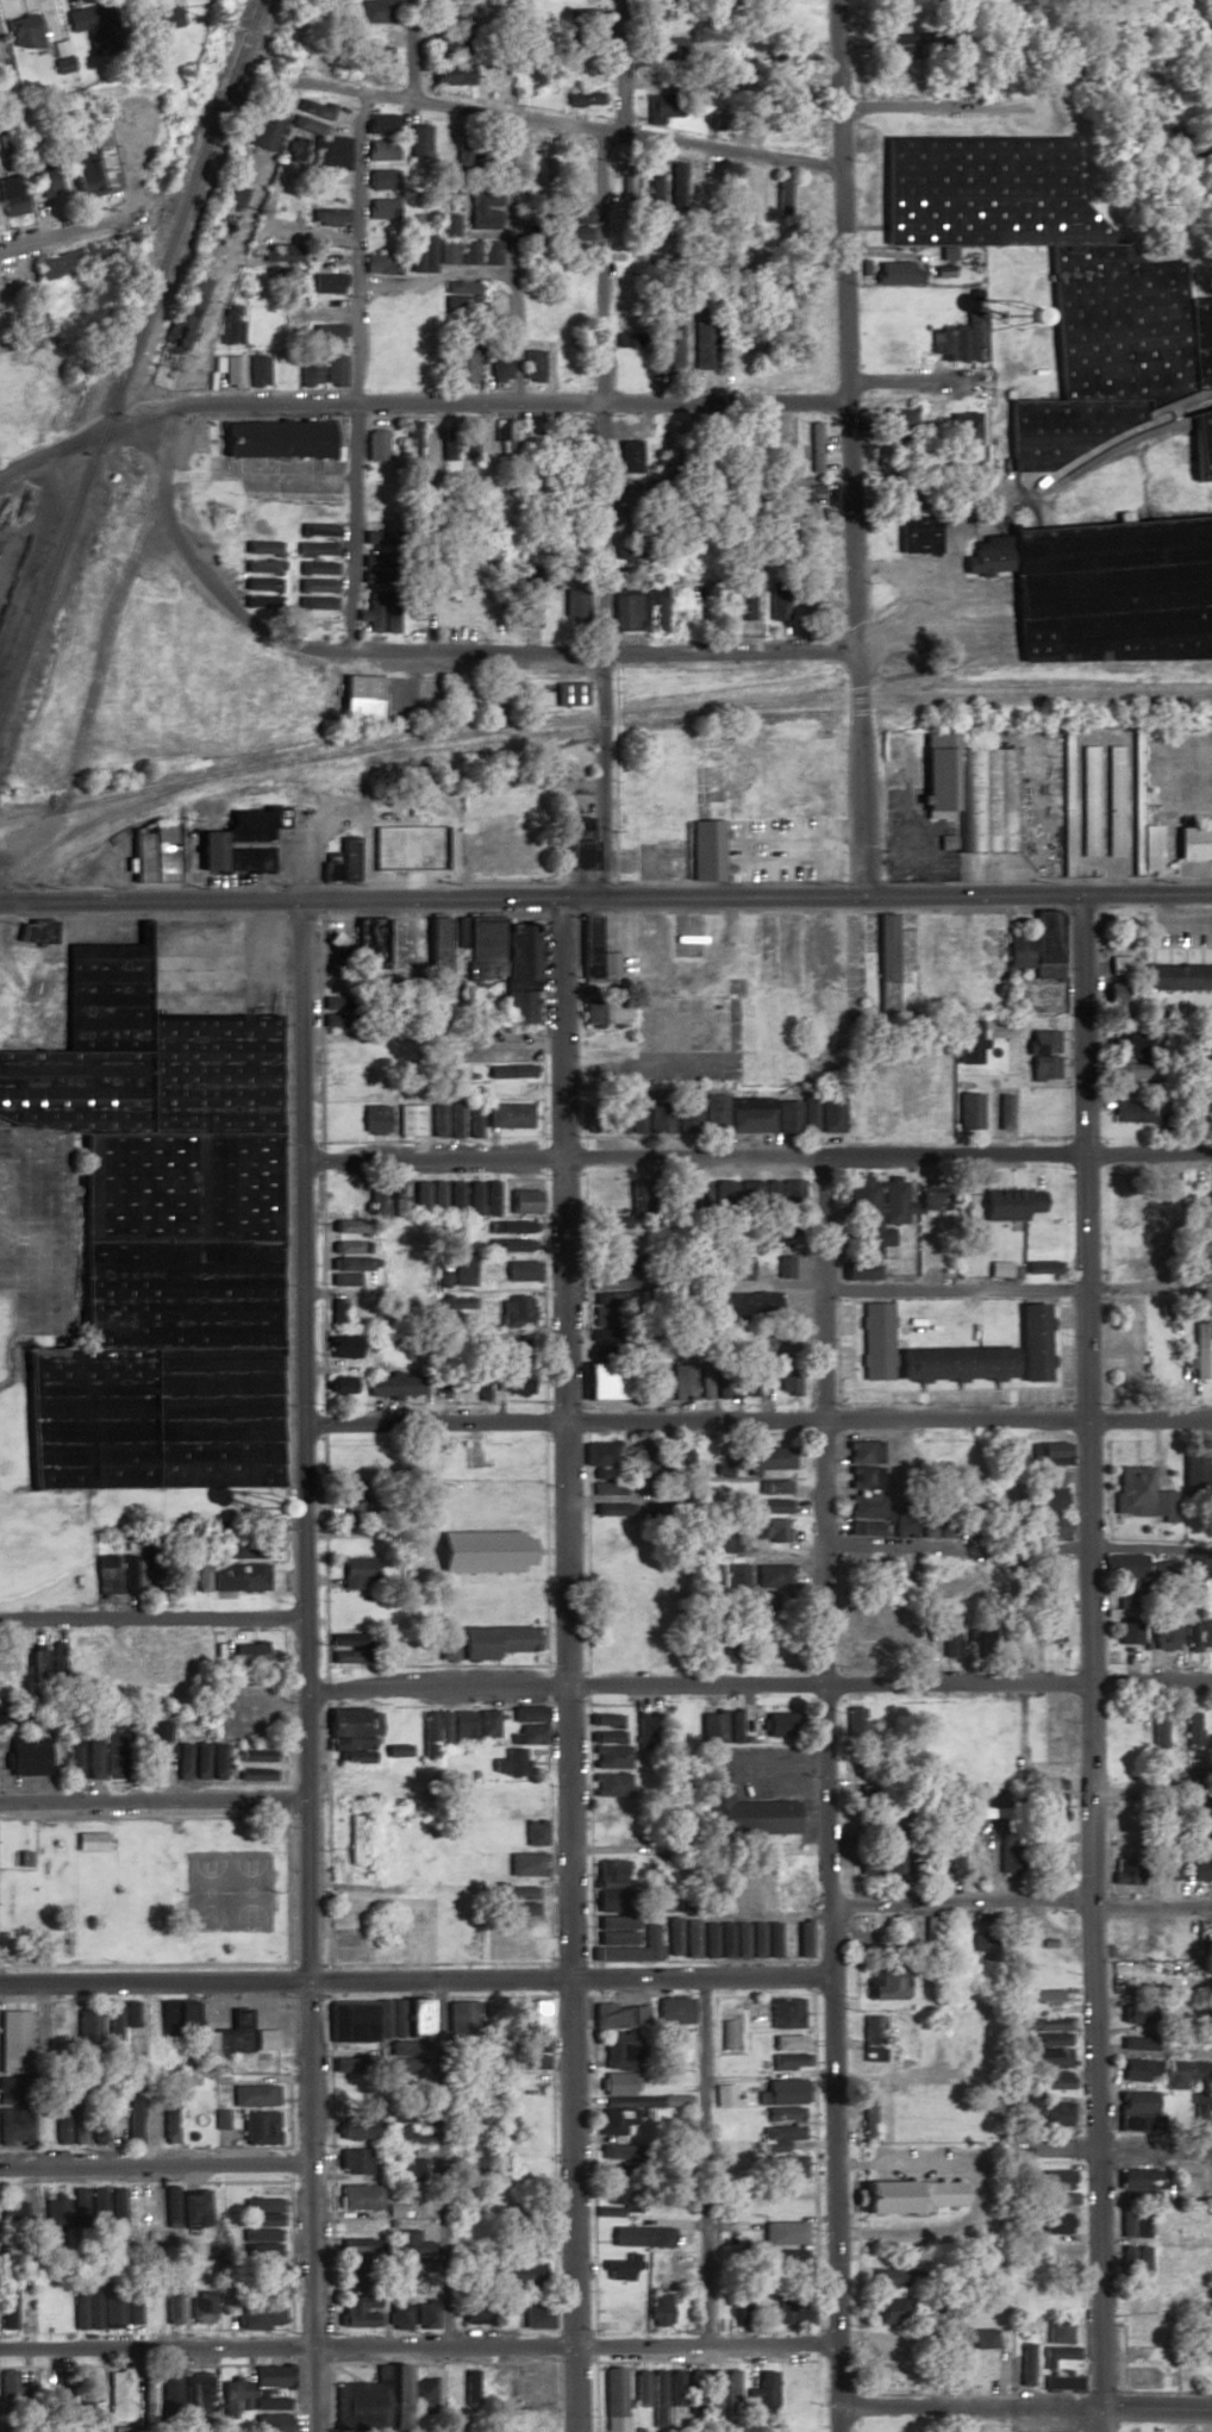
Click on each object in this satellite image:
road: (974, 7)
building: (375, 11)
building: (449, 15)
building: (80, 19)
building: (21, 30)
building: (450, 45)
building: (893, 45)
road: (405, 49)
building: (788, 55)
building: (450, 74)
building: (581, 99)
building: (661, 108)
road: (941, 111)
building: (380, 125)
road: (563, 125)
building: (780, 129)
building: (265, 130)
building: (99, 131)
building: (321, 136)
building: (418, 140)
building: (294, 150)
building: (379, 150)
building: (577, 173)
building: (83, 177)
building: (371, 179)
building: (44, 187)
building: (655, 187)
building: (10, 193)
building: (231, 194)
building: (286, 198)
building: (482, 207)
building: (380, 208)
building: (327, 224)
building: (570, 224)
road: (52, 232)
building: (462, 246)
building: (380, 250)
building: (420, 252)
building: (282, 254)
road: (512, 257)
building: (325, 258)
building: (61, 265)
building: (896, 273)
building: (1054, 282)
building: (325, 283)
road: (219, 294)
building: (460, 295)
building: (891, 301)
building: (326, 308)
building: (182, 321)
water tower: (999, 321)
building: (233, 325)
building: (276, 325)
building: (895, 331)
building: (326, 335)
building: (707, 344)
building: (948, 344)
building: (896, 354)
railway: (130, 357)
building: (629, 361)
building: (460, 363)
building: (498, 365)
building: (531, 365)
building: (742, 365)
building: (307, 370)
building: (332, 370)
road: (348, 370)
building: (230, 371)
building: (257, 371)
building: (283, 371)
road: (887, 382)
road: (423, 401)
building: (895, 425)
building: (511, 438)
building: (276, 440)
building: (466, 442)
building: (773, 442)
building: (1200, 443)
building: (375, 446)
building: (814, 446)
road: (602, 449)
road: (844, 450)
building: (629, 456)
road: (7, 475)
road: (482, 486)
building: (262, 511)
building: (318, 511)
road: (964, 523)
building: (262, 529)
building: (913, 529)
building: (317, 531)
building: (262, 548)
building: (316, 549)
building: (263, 565)
building: (316, 568)
building: (261, 583)
building: (1107, 589)
building: (316, 593)
building: (414, 602)
building: (743, 602)
building: (474, 608)
building: (658, 611)
building: (625, 613)
building: (380, 614)
road: (105, 644)
road: (429, 651)
building: (277, 693)
building: (571, 693)
building: (357, 698)
railway: (721, 708)
building: (936, 780)
railway: (118, 795)
building: (988, 800)
building: (1087, 800)
building: (1113, 800)
railway: (107, 813)
building: (237, 842)
building: (571, 844)
building: (1191, 844)
building: (1144, 848)
building: (406, 849)
building: (705, 850)
building: (160, 852)
building: (342, 861)
road: (605, 900)
building: (370, 942)
building: (437, 944)
building: (1043, 944)
building: (1017, 951)
building: (501, 962)
building: (885, 962)
building: (1117, 964)
building: (1179, 976)
building: (1038, 996)
building: (604, 1011)
building: (967, 1039)
building: (1042, 1054)
building: (140, 1061)
building: (1126, 1071)
building: (1200, 1084)
building: (712, 1109)
building: (967, 1109)
building: (685, 1111)
building: (821, 1111)
building: (1002, 1111)
building: (1130, 1111)
building: (748, 1113)
building: (507, 1114)
building: (785, 1114)
building: (444, 1118)
building: (410, 1119)
building: (471, 1119)
building: (373, 1125)
road: (756, 1154)
building: (177, 1186)
building: (785, 1194)
building: (379, 1196)
building: (482, 1196)
building: (399, 1198)
building: (419, 1198)
building: (436, 1198)
building: (454, 1198)
building: (523, 1200)
building: (1008, 1204)
building: (876, 1211)
building: (511, 1226)
building: (775, 1227)
building: (511, 1243)
building: (351, 1263)
building: (727, 1264)
building: (783, 1265)
building: (487, 1269)
building: (519, 1269)
building: (858, 1269)
building: (462, 1270)
building: (344, 1278)
road: (1150, 1284)
road: (957, 1286)
road: (693, 1287)
building: (177, 1293)
road: (355, 1296)
building: (601, 1300)
building: (737, 1306)
building: (517, 1311)
building: (337, 1313)
building: (875, 1339)
building: (1031, 1340)
building: (342, 1345)
building: (1199, 1350)
building: (952, 1363)
building: (681, 1376)
building: (713, 1378)
building: (744, 1378)
building: (783, 1378)
building: (462, 1380)
building: (600, 1380)
building: (517, 1384)
building: (339, 1386)
building: (389, 1386)
building: (149, 1417)
road: (756, 1420)
building: (862, 1451)
building: (594, 1453)
building: (671, 1458)
building: (758, 1458)
building: (642, 1464)
building: (1194, 1468)
building: (863, 1478)
building: (512, 1488)
building: (1139, 1493)
building: (769, 1498)
building: (1045, 1499)
water tower: (255, 1507)
building: (516, 1508)
building: (608, 1528)
building: (773, 1530)
building: (723, 1544)
road: (1019, 1549)
building: (251, 1551)
building: (1123, 1565)
building: (137, 1573)
building: (107, 1574)
building: (181, 1574)
building: (354, 1574)
building: (735, 1576)
building: (769, 1576)
building: (238, 1577)
building: (1126, 1599)
road: (20, 1617)
road: (170, 1620)
building: (1049, 1624)
building: (1195, 1626)
building: (1162, 1628)
building: (1127, 1632)
building: (949, 1638)
building: (482, 1642)
building: (924, 1645)
building: (348, 1651)
building: (248, 1653)
road: (1092, 1664)
road: (558, 1667)
road: (300, 1668)
road: (961, 1670)
road: (755, 1683)
building: (525, 1714)
building: (350, 1723)
building: (779, 1724)
building: (485, 1726)
building: (460, 1727)
building: (711, 1727)
building: (1192, 1730)
building: (426, 1734)
building: (529, 1734)
building: (157, 1742)
building: (606, 1742)
building: (1156, 1748)
building: (394, 1750)
building: (25, 1756)
building: (107, 1756)
building: (73, 1758)
building: (507, 1763)
road: (768, 1765)
building: (399, 1784)
building: (607, 1784)
building: (351, 1789)
road: (829, 1793)
road: (1147, 1796)
road: (150, 1802)
building: (1044, 1808)
building: (745, 1812)
building: (988, 1813)
building: (498, 1833)
building: (90, 1842)
building: (952, 1853)
building: (891, 1855)
building: (932, 1855)
building: (21, 1859)
building: (1010, 1862)
building: (1200, 1862)
building: (524, 1864)
building: (1166, 1865)
building: (477, 1867)
building: (1125, 1871)
building: (514, 1893)
building: (656, 1903)
road: (1020, 1903)
building: (516, 1909)
building: (617, 1920)
building: (670, 1936)
building: (1161, 1938)
building: (1125, 1939)
building: (348, 1945)
road: (564, 1977)
road: (150, 1981)
building: (885, 1983)
building: (1037, 1995)
building: (670, 2012)
building: (1139, 2015)
building: (617, 2017)
building: (112, 2025)
building: (375, 2026)
building: (86, 2028)
building: (1044, 2031)
building: (229, 2034)
building: (871, 2038)
building: (263, 2040)
building: (529, 2040)
building: (619, 2051)
building: (788, 2058)
building: (1041, 2058)
building: (1198, 2075)
building: (519, 2081)
building: (1049, 2081)
building: (783, 2092)
building: (252, 2096)
building: (1135, 2102)
building: (616, 2106)
building: (1001, 2108)
building: (1199, 2108)
building: (1045, 2112)
building: (779, 2114)
building: (867, 2115)
building: (888, 2115)
building: (520, 2117)
building: (165, 2120)
building: (257, 2127)
building: (781, 2133)
road: (1111, 2153)
building: (352, 2162)
road: (438, 2163)
road: (701, 2163)
road: (150, 2167)
building: (781, 2167)
building: (1055, 2180)
building: (1136, 2186)
building: (613, 2193)
building: (908, 2196)
building: (357, 2197)
building: (1057, 2200)
building: (604, 2212)
building: (169, 2213)
building: (193, 2213)
building: (261, 2213)
building: (1126, 2221)
building: (1052, 2224)
building: (782, 2232)
building: (626, 2236)
building: (260, 2243)
road: (1155, 2243)
building: (355, 2246)
building: (407, 2252)
building: (1060, 2257)
building: (1133, 2258)
building: (620, 2268)
building: (262, 2277)
building: (887, 2278)
building: (1014, 2300)
building: (1045, 2301)
building: (168, 2305)
building: (744, 2305)
building: (199, 2307)
building: (104, 2308)
building: (656, 2308)
building: (614, 2309)
building: (13, 2311)
building: (357, 2311)
building: (888, 2311)
building: (423, 2315)
building: (256, 2317)
building: (395, 2317)
building: (471, 2319)
building: (532, 2319)
building: (1056, 2332)
building: (981, 2339)
building: (954, 2343)
road: (151, 2347)
road: (568, 2347)
building: (1023, 2364)
building: (1048, 2365)
building: (1205, 2374)
building: (83, 2388)
building: (457, 2389)
building: (636, 2389)
building: (671, 2389)
building: (727, 2390)
building: (710, 2392)
building: (611, 2393)
building: (195, 2394)
building: (117, 2395)
building: (760, 2395)
building: (167, 2396)
building: (231, 2396)
building: (381, 2396)
building: (421, 2396)
building: (652, 2399)
building: (145, 2400)
building: (519, 2403)
road: (1023, 2406)
building: (269, 2422)

